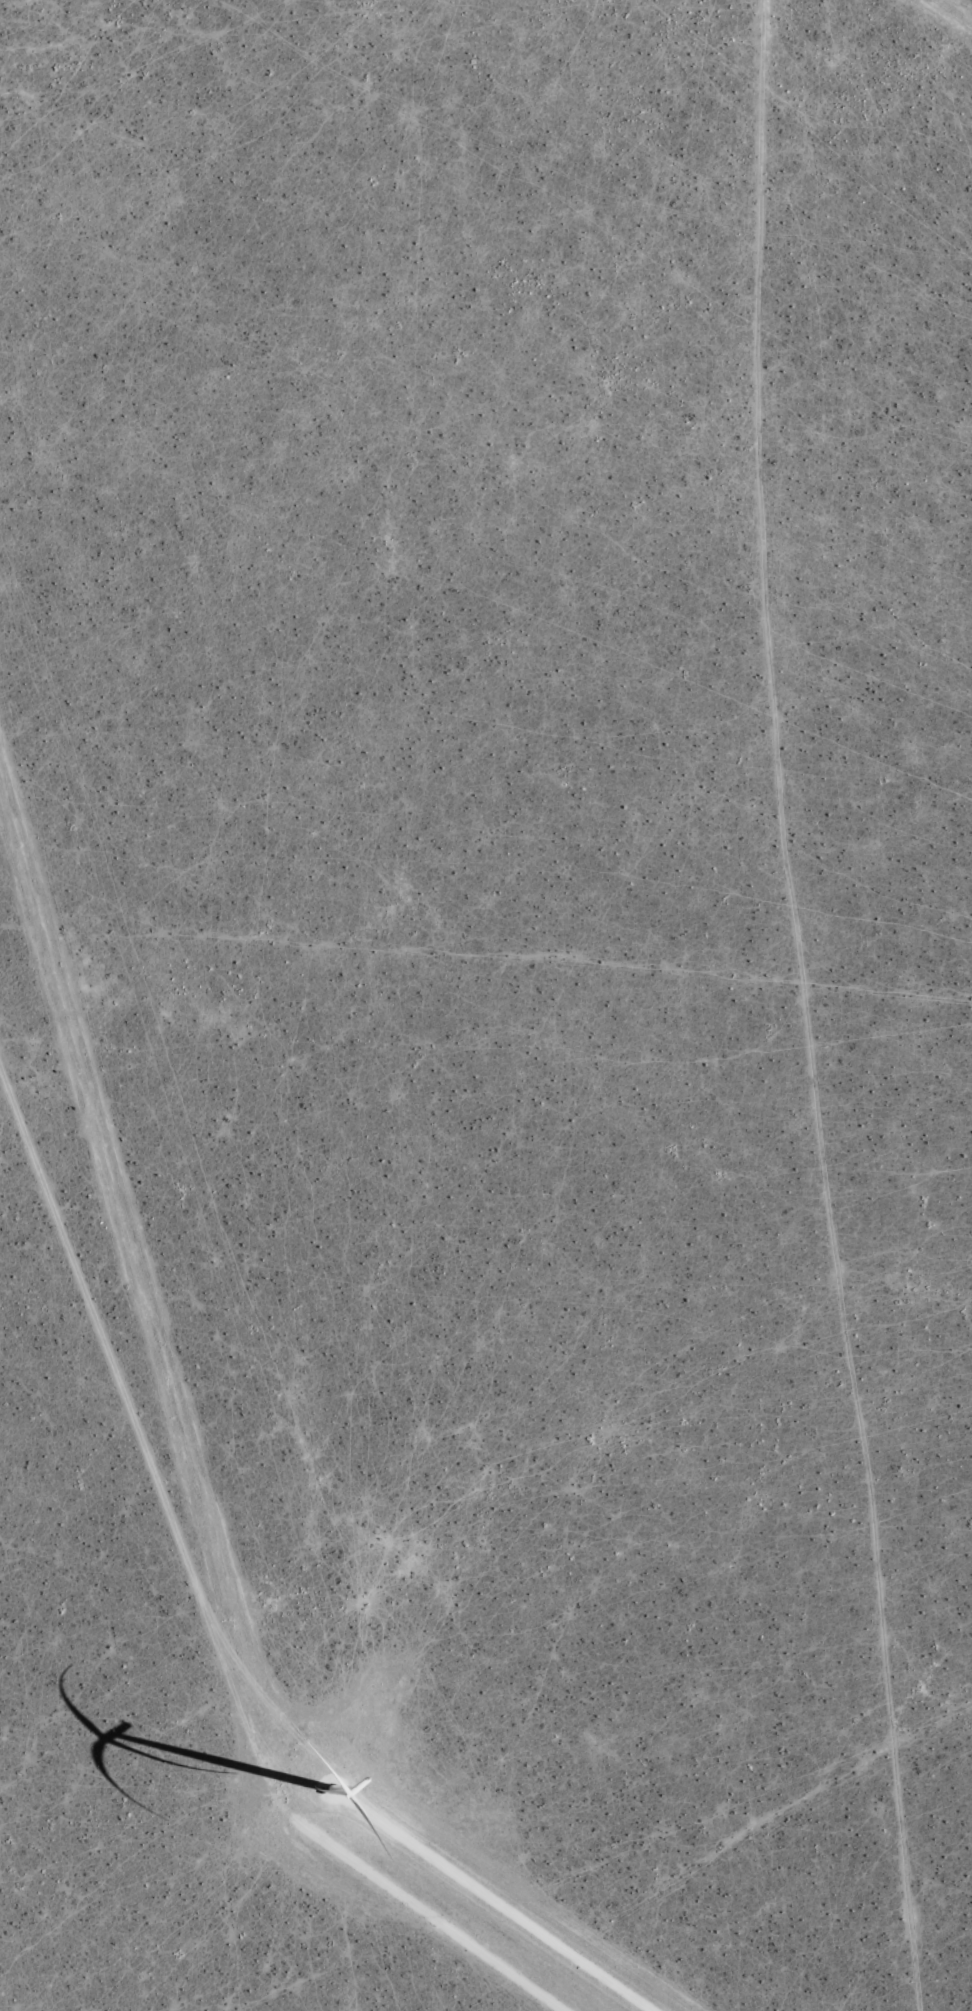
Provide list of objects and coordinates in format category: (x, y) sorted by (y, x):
wind turbine: (326, 1783)

